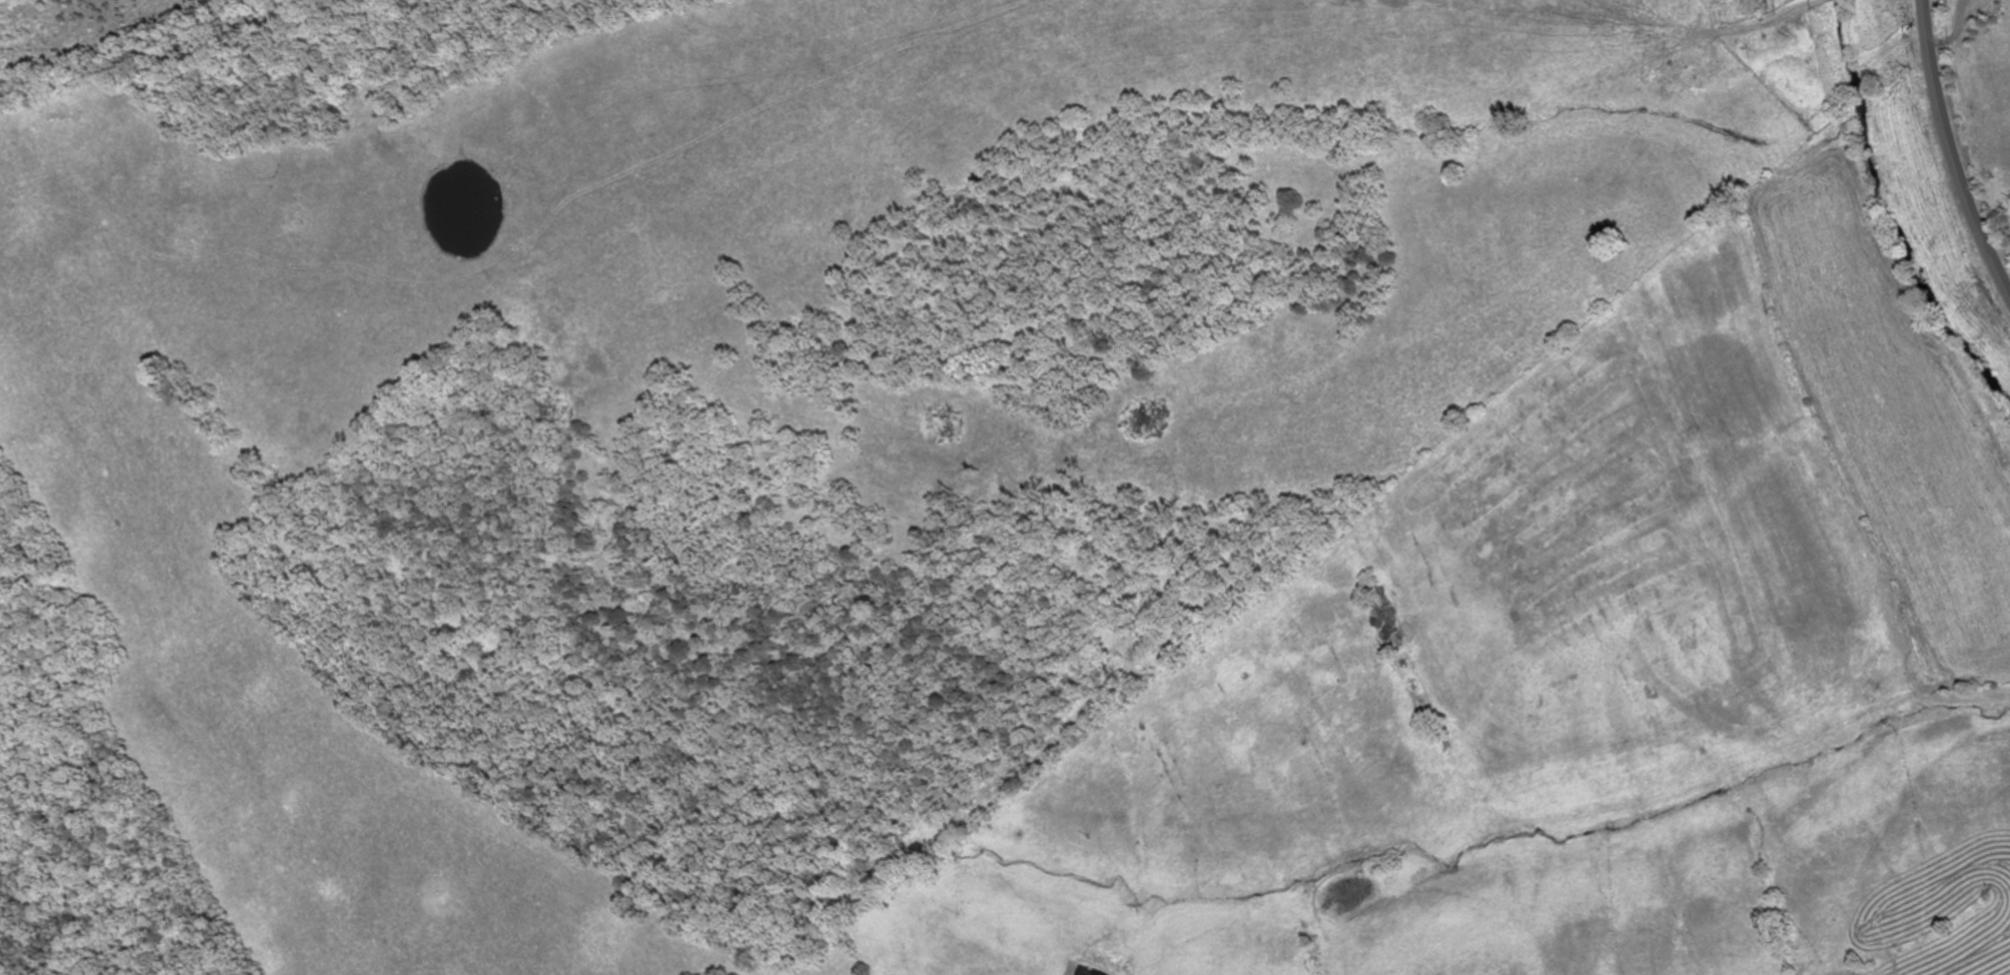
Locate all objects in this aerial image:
road: (1950, 153)

